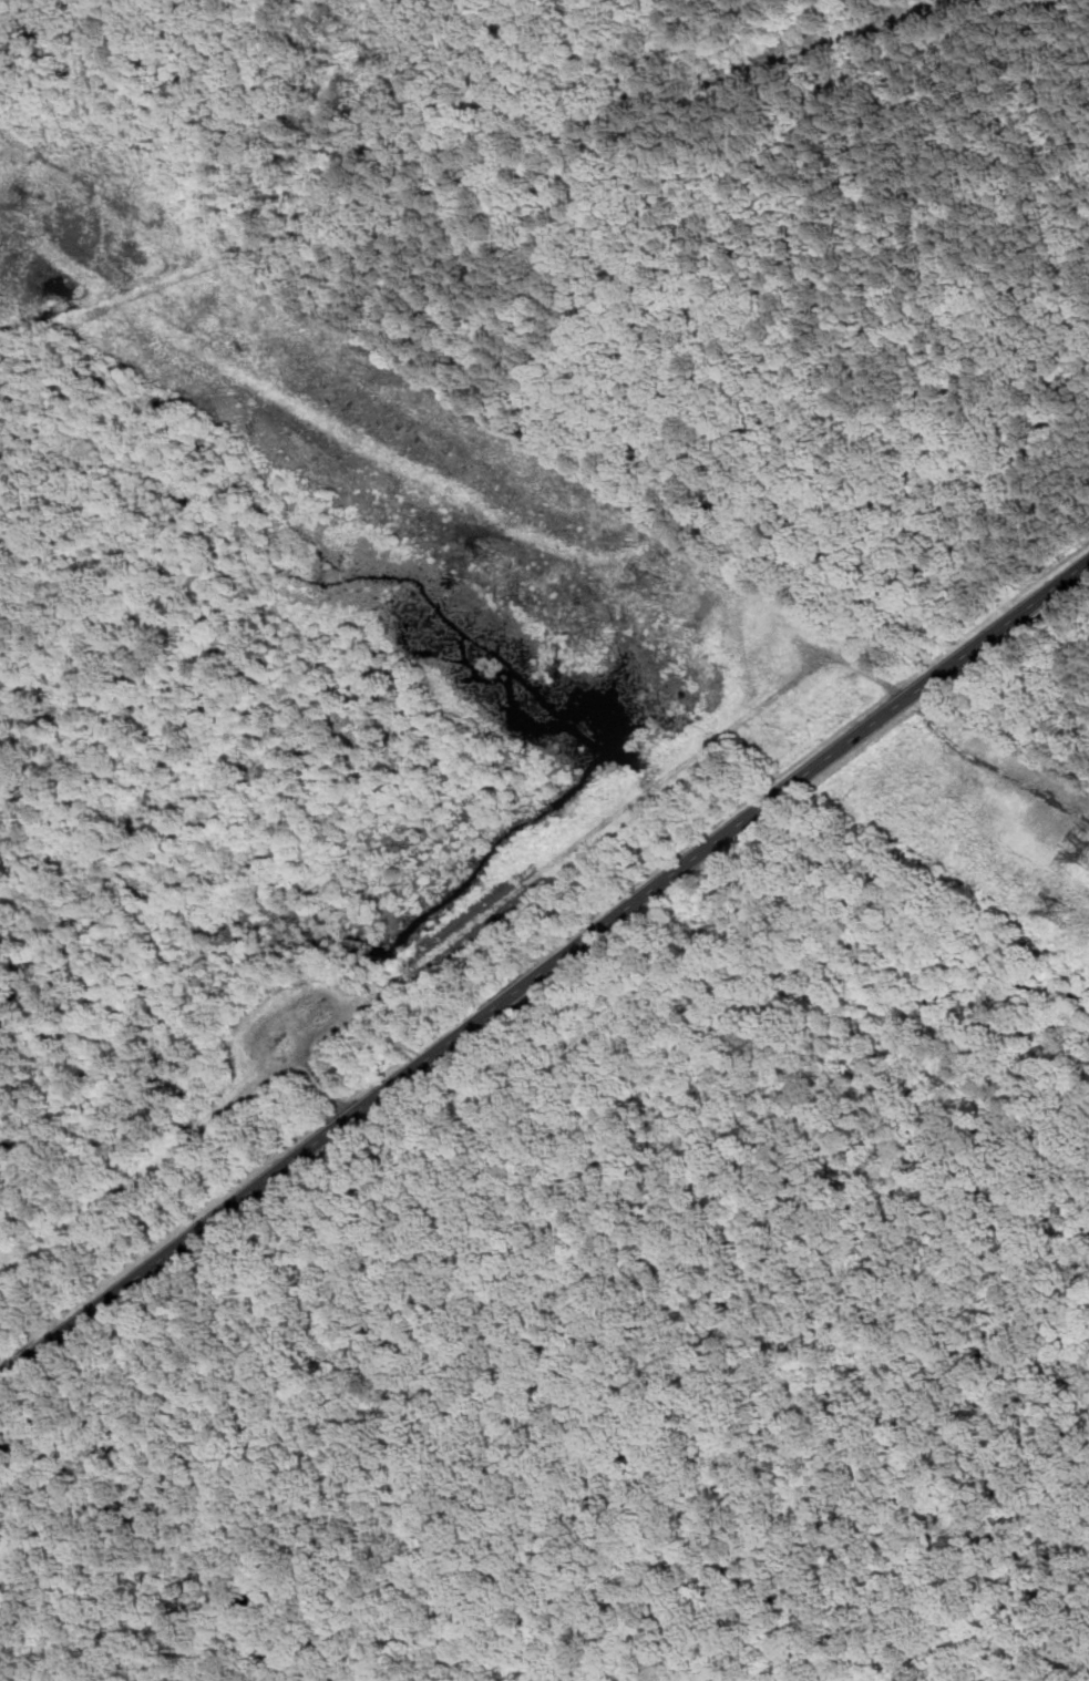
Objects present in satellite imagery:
power tower: (40, 209)
power tower: (482, 557)
power tower: (657, 585)
road: (814, 766)
park: (256, 768)
power tower: (1057, 915)
road: (515, 992)
road: (244, 1196)

